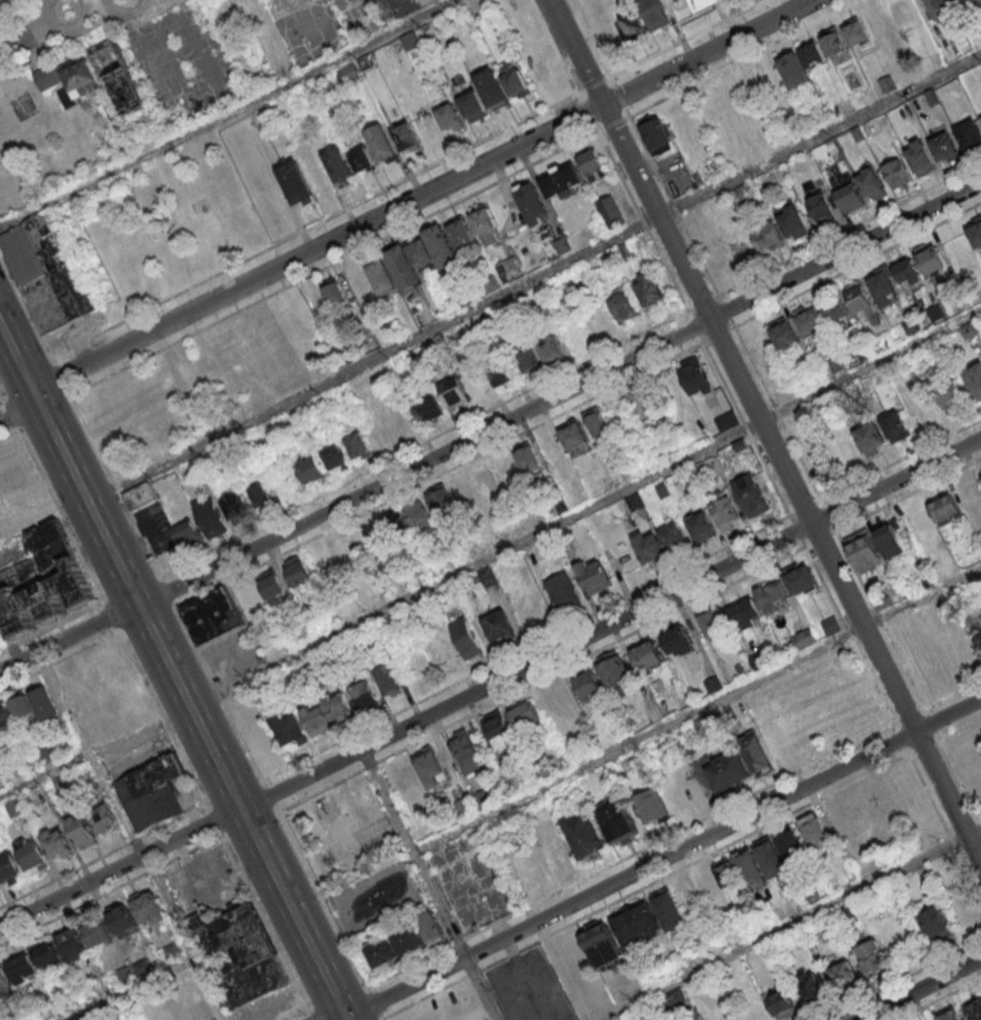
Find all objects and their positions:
building: (962, 1)
building: (697, 4)
building: (398, 8)
building: (939, 8)
building: (899, 12)
building: (652, 13)
building: (876, 20)
building: (633, 24)
road: (35, 31)
building: (855, 32)
road: (590, 39)
road: (687, 39)
building: (410, 40)
road: (1, 44)
building: (834, 44)
road: (555, 47)
building: (812, 55)
road: (746, 58)
building: (796, 72)
building: (348, 74)
building: (70, 79)
building: (123, 79)
building: (514, 80)
road: (594, 86)
building: (491, 88)
road: (620, 96)
building: (472, 105)
road: (231, 113)
building: (450, 117)
building: (969, 132)
building: (657, 134)
building: (405, 136)
building: (381, 142)
building: (943, 145)
building: (821, 152)
building: (920, 157)
building: (362, 158)
building: (592, 163)
building: (339, 164)
building: (896, 172)
building: (563, 180)
building: (295, 183)
building: (871, 184)
building: (850, 197)
building: (532, 202)
road: (402, 206)
building: (821, 208)
building: (610, 211)
building: (791, 221)
building: (486, 225)
building: (461, 232)
building: (975, 232)
building: (768, 236)
building: (562, 245)
road: (263, 250)
building: (420, 258)
building: (931, 258)
road: (858, 265)
building: (46, 271)
building: (907, 271)
building: (382, 276)
road: (532, 278)
building: (360, 285)
building: (882, 286)
building: (649, 290)
building: (335, 292)
building: (861, 300)
building: (622, 304)
building: (836, 310)
building: (934, 313)
building: (810, 320)
building: (969, 329)
building: (784, 334)
building: (551, 349)
building: (528, 360)
building: (837, 363)
road: (733, 365)
building: (502, 375)
building: (694, 376)
building: (974, 379)
building: (950, 395)
road: (2, 400)
building: (440, 400)
building: (642, 402)
road: (778, 413)
traffic signals: (12, 417)
building: (726, 420)
building: (596, 422)
building: (894, 424)
road: (490, 426)
road: (747, 430)
building: (379, 434)
road: (10, 436)
building: (870, 437)
building: (575, 438)
building: (359, 444)
building: (844, 452)
building: (527, 456)
building: (336, 458)
road: (901, 460)
building: (507, 468)
building: (310, 469)
building: (980, 470)
building: (485, 482)
building: (751, 494)
building: (139, 495)
building: (261, 496)
building: (440, 498)
building: (236, 506)
road: (806, 507)
road: (584, 508)
building: (945, 508)
building: (725, 513)
building: (210, 516)
road: (829, 516)
building: (406, 519)
building: (918, 523)
building: (701, 526)
road: (798, 531)
building: (188, 533)
building: (674, 537)
road: (821, 539)
building: (891, 539)
building: (650, 548)
building: (864, 551)
building: (325, 562)
building: (298, 571)
building: (489, 576)
road: (858, 576)
building: (594, 577)
building: (801, 579)
building: (48, 582)
building: (271, 584)
building: (563, 593)
building: (773, 595)
building: (249, 597)
building: (745, 613)
building: (212, 615)
building: (714, 622)
road: (50, 624)
building: (498, 625)
building: (830, 625)
building: (465, 637)
building: (803, 638)
building: (678, 641)
road: (9, 642)
building: (648, 655)
building: (614, 667)
road: (173, 675)
building: (386, 679)
building: (713, 683)
building: (587, 684)
road: (491, 686)
building: (363, 696)
building: (46, 703)
road: (156, 705)
road: (697, 711)
building: (16, 712)
building: (327, 712)
building: (524, 714)
building: (497, 726)
road: (960, 727)
building: (290, 728)
building: (777, 742)
building: (466, 751)
building: (756, 754)
building: (431, 767)
building: (727, 770)
road: (45, 775)
road: (960, 780)
road: (763, 788)
building: (905, 789)
building: (152, 792)
road: (270, 795)
road: (949, 797)
building: (650, 805)
building: (464, 806)
building: (14, 807)
building: (103, 818)
building: (618, 822)
building: (81, 831)
building: (815, 831)
road: (133, 834)
building: (585, 834)
building: (56, 844)
building: (791, 845)
building: (31, 854)
road: (706, 857)
building: (771, 857)
road: (659, 861)
building: (9, 867)
building: (750, 868)
building: (726, 871)
road: (430, 885)
building: (0, 890)
road: (110, 891)
building: (149, 907)
building: (964, 909)
building: (123, 921)
building: (635, 922)
road: (790, 924)
building: (935, 924)
building: (431, 927)
building: (97, 933)
building: (72, 944)
building: (395, 945)
building: (602, 945)
building: (172, 950)
building: (49, 955)
building: (240, 956)
building: (872, 957)
building: (23, 969)
building: (134, 971)
building: (843, 974)
building: (5, 980)
building: (810, 984)
parking lot: (528, 987)
road: (128, 988)
road: (919, 988)
building: (782, 1004)
building: (199, 1008)
building: (973, 1009)
building: (749, 1013)
road: (297, 1014)
building: (949, 1015)

